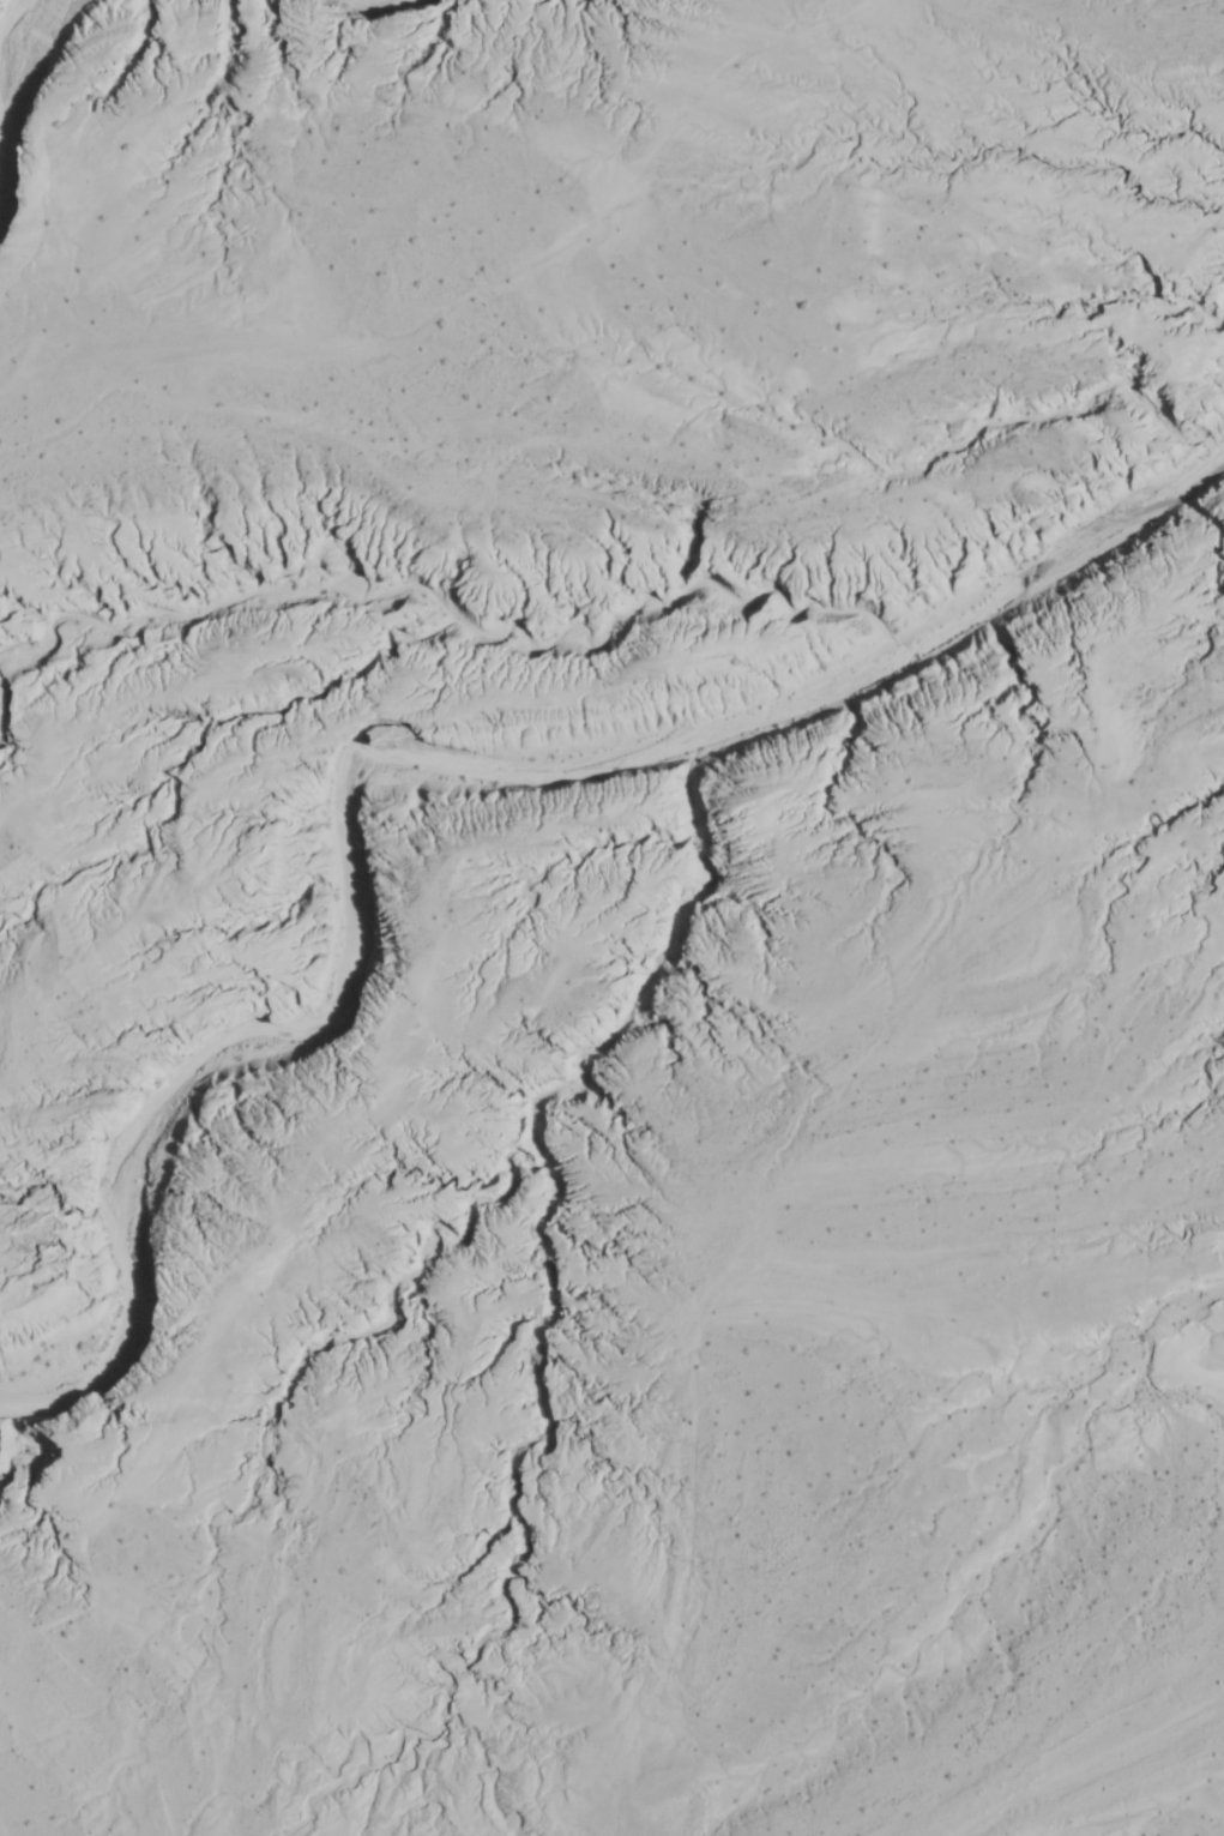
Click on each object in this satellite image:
road: (5, 79)

